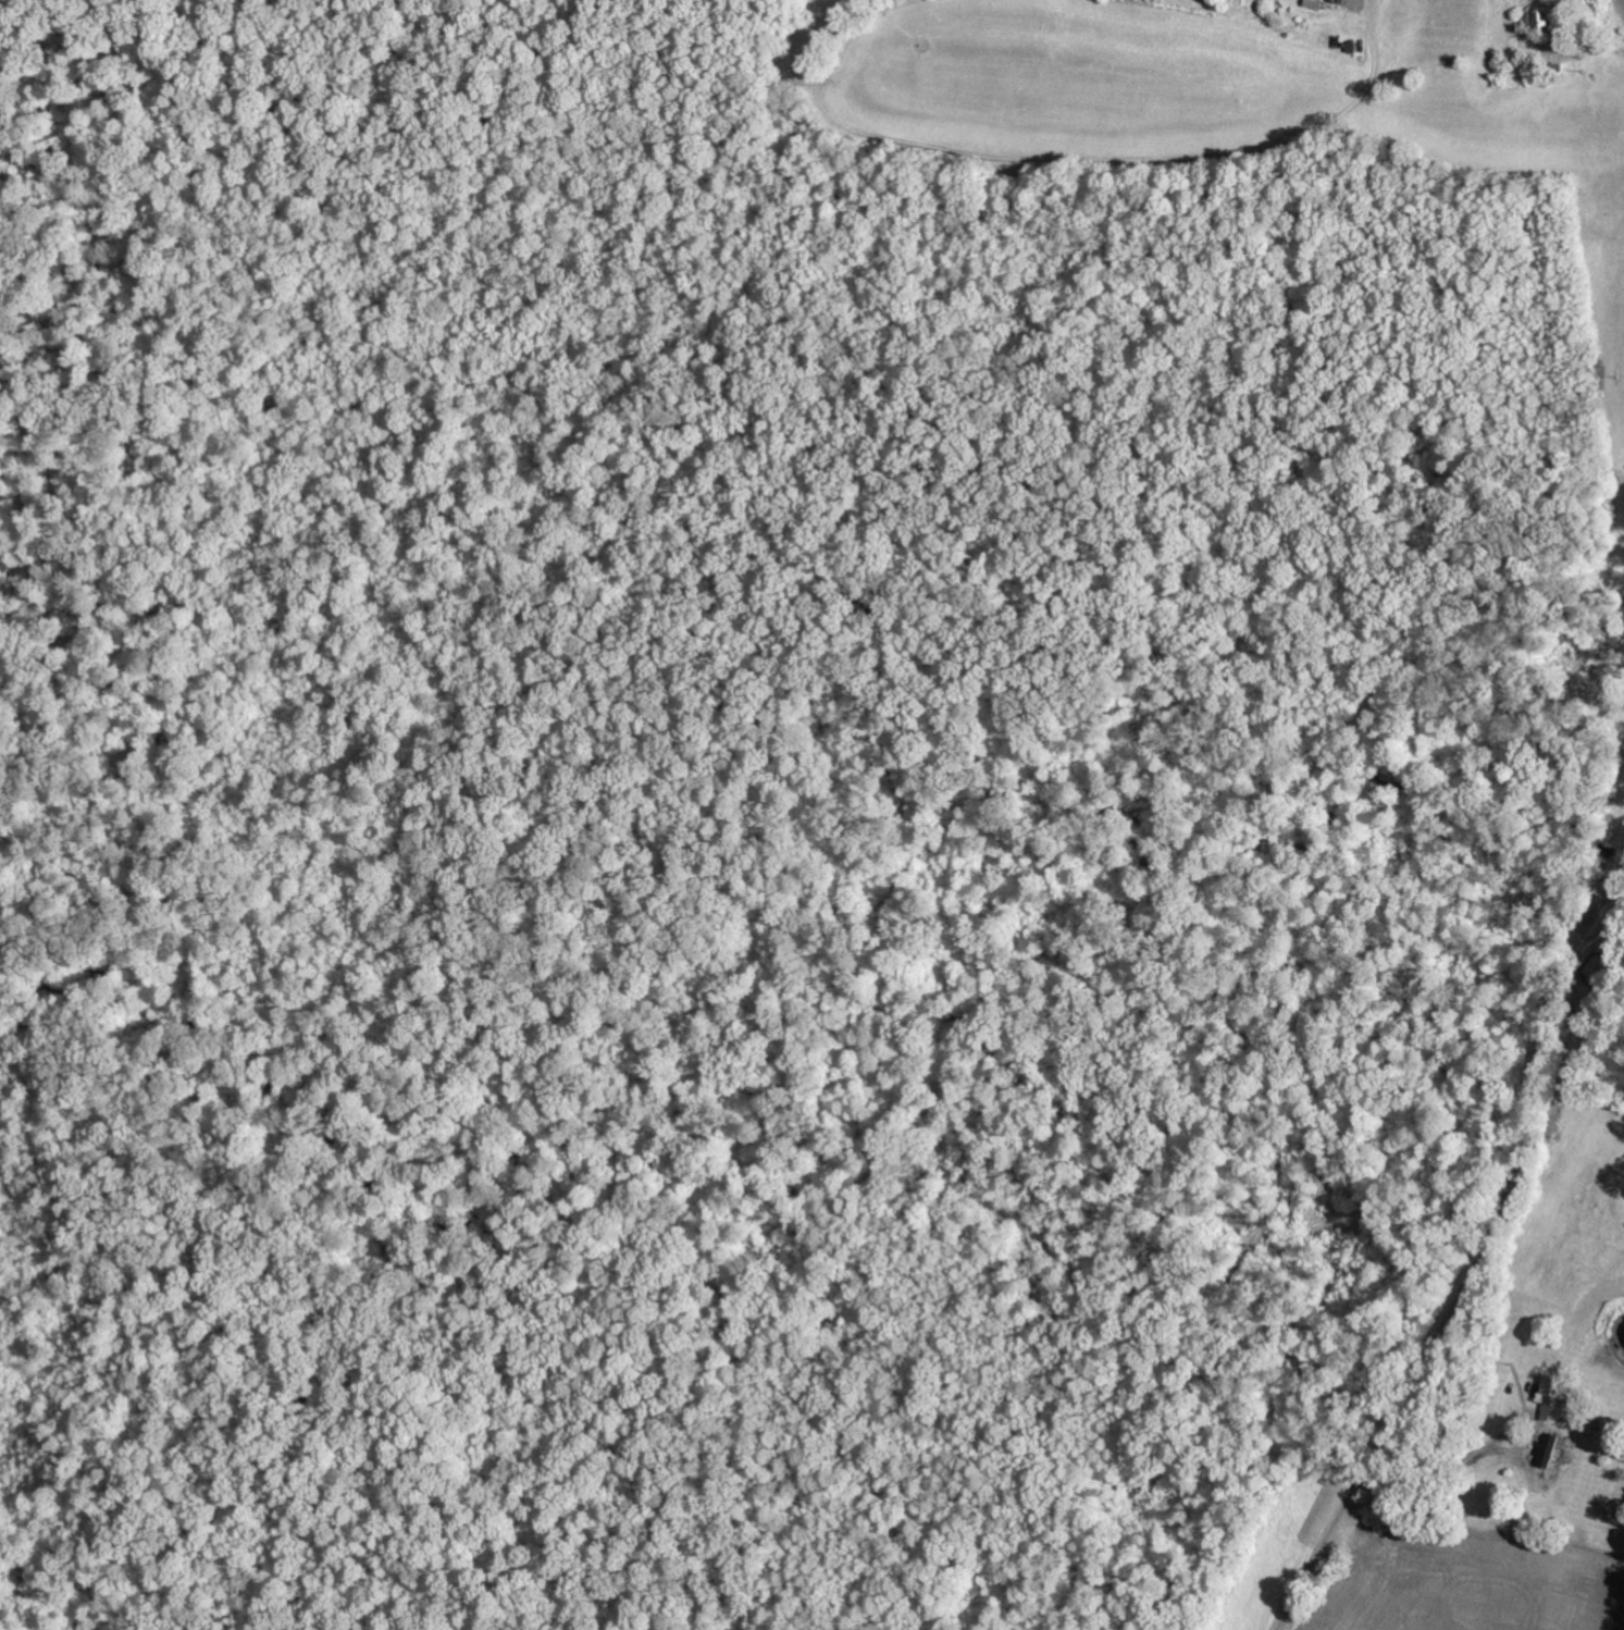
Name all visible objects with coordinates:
road: (1623, 1)
road: (1483, 1249)
building: (1555, 1398)
building: (1542, 1448)

